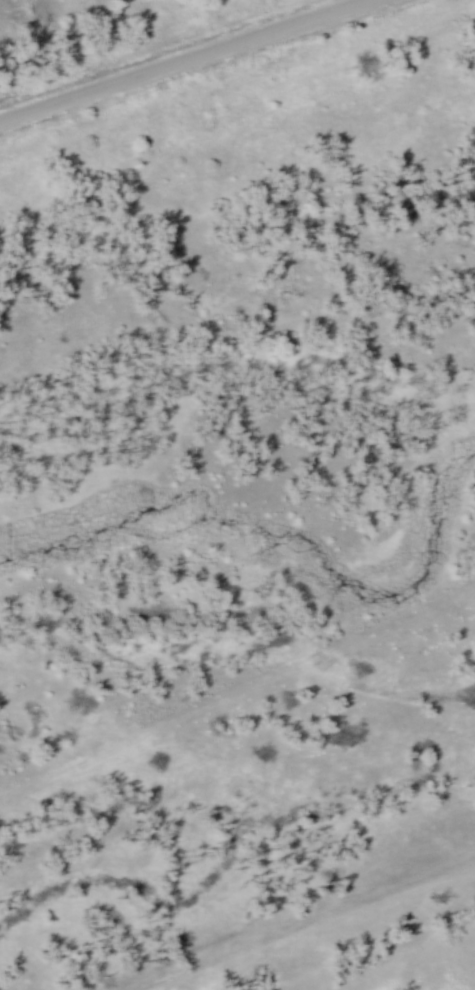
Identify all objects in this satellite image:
road: (188, 62)
river: (268, 530)

